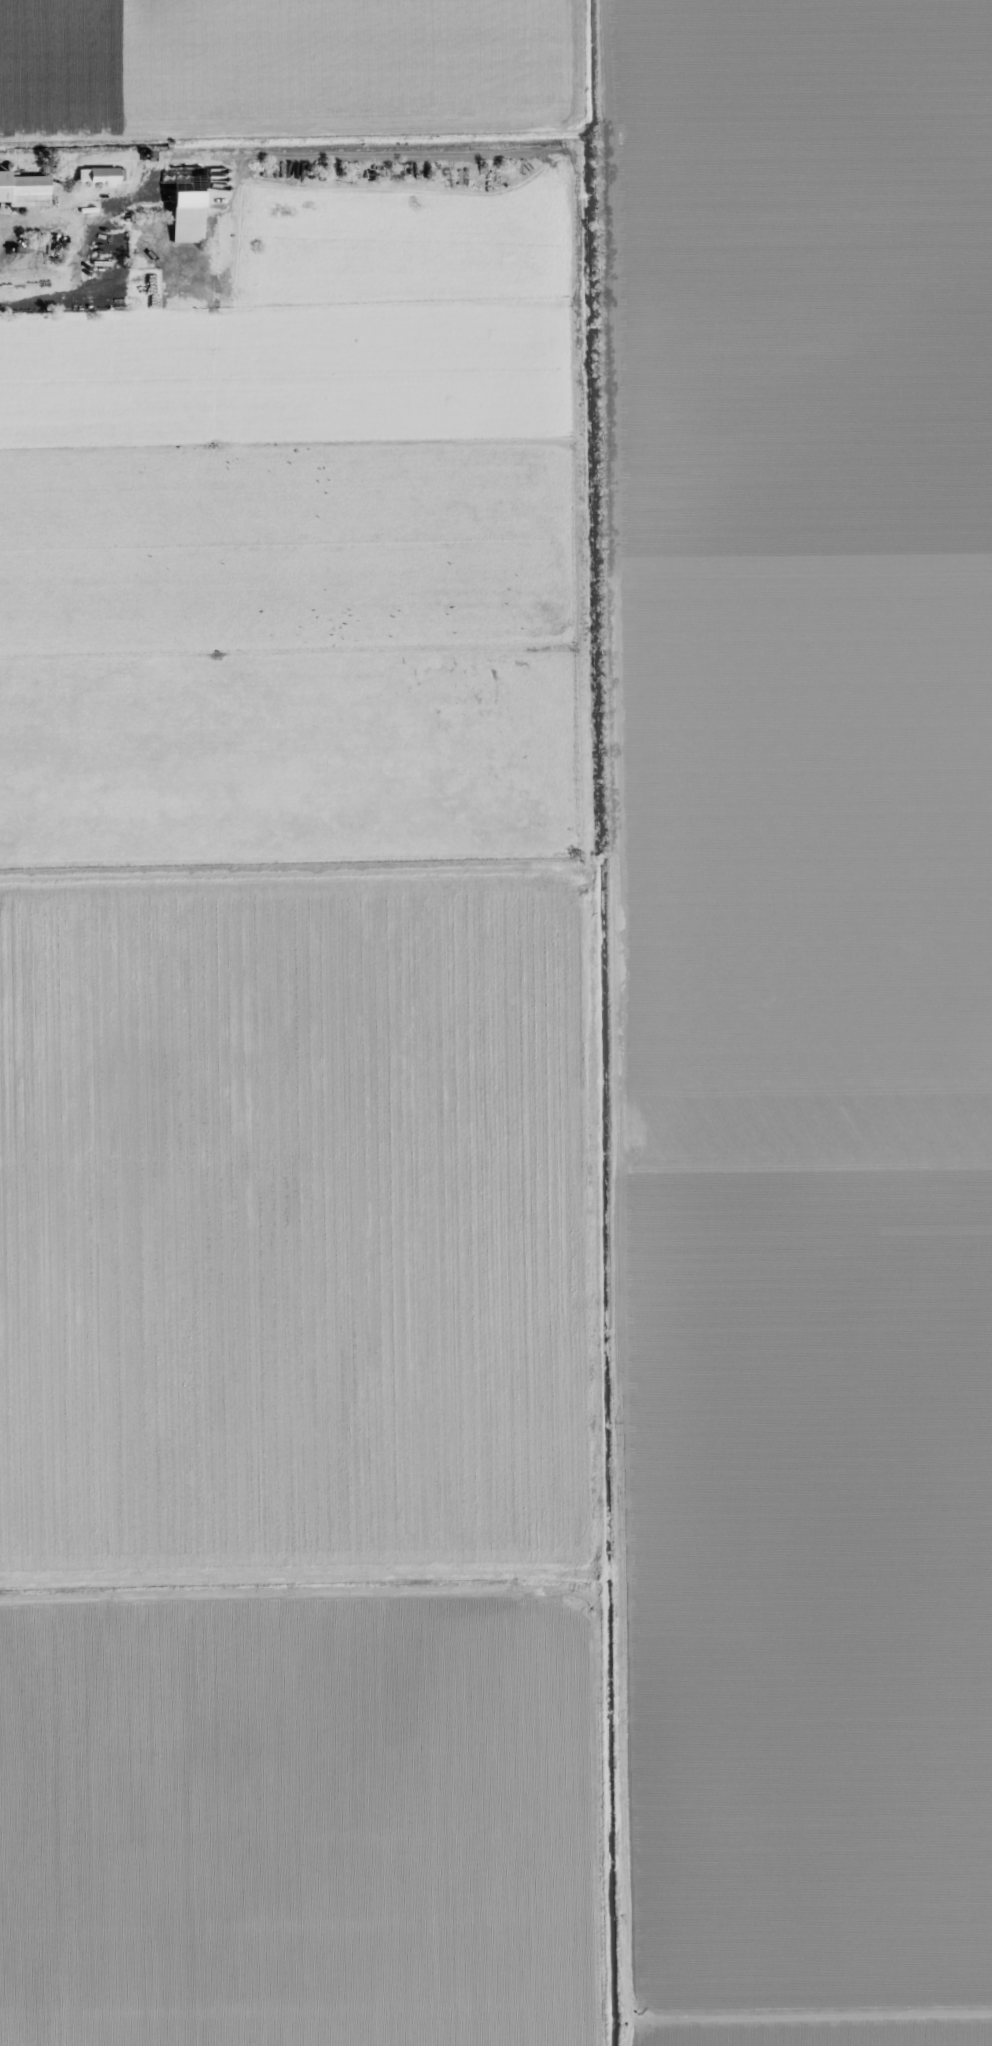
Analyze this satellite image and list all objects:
building: (98, 177)
building: (186, 187)
building: (24, 190)

